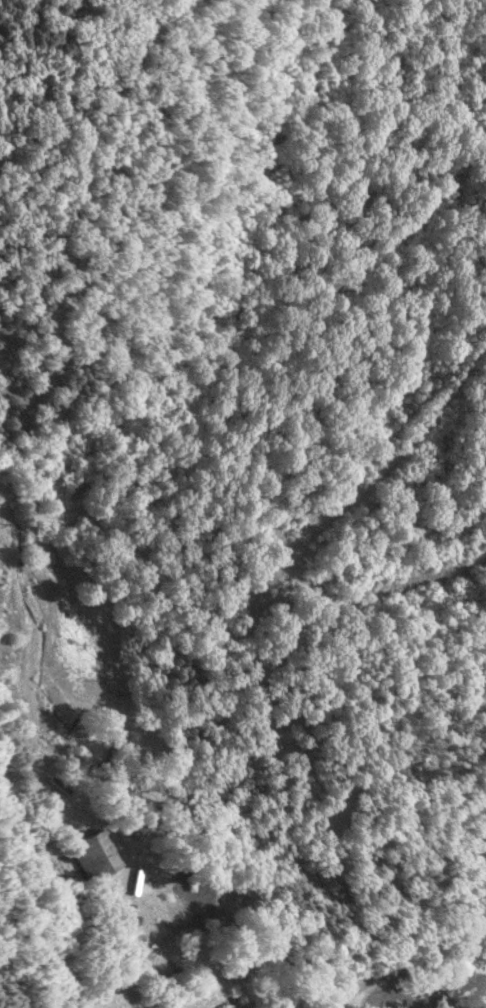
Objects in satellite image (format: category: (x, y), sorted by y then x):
road: (124, 947)
road: (398, 966)

